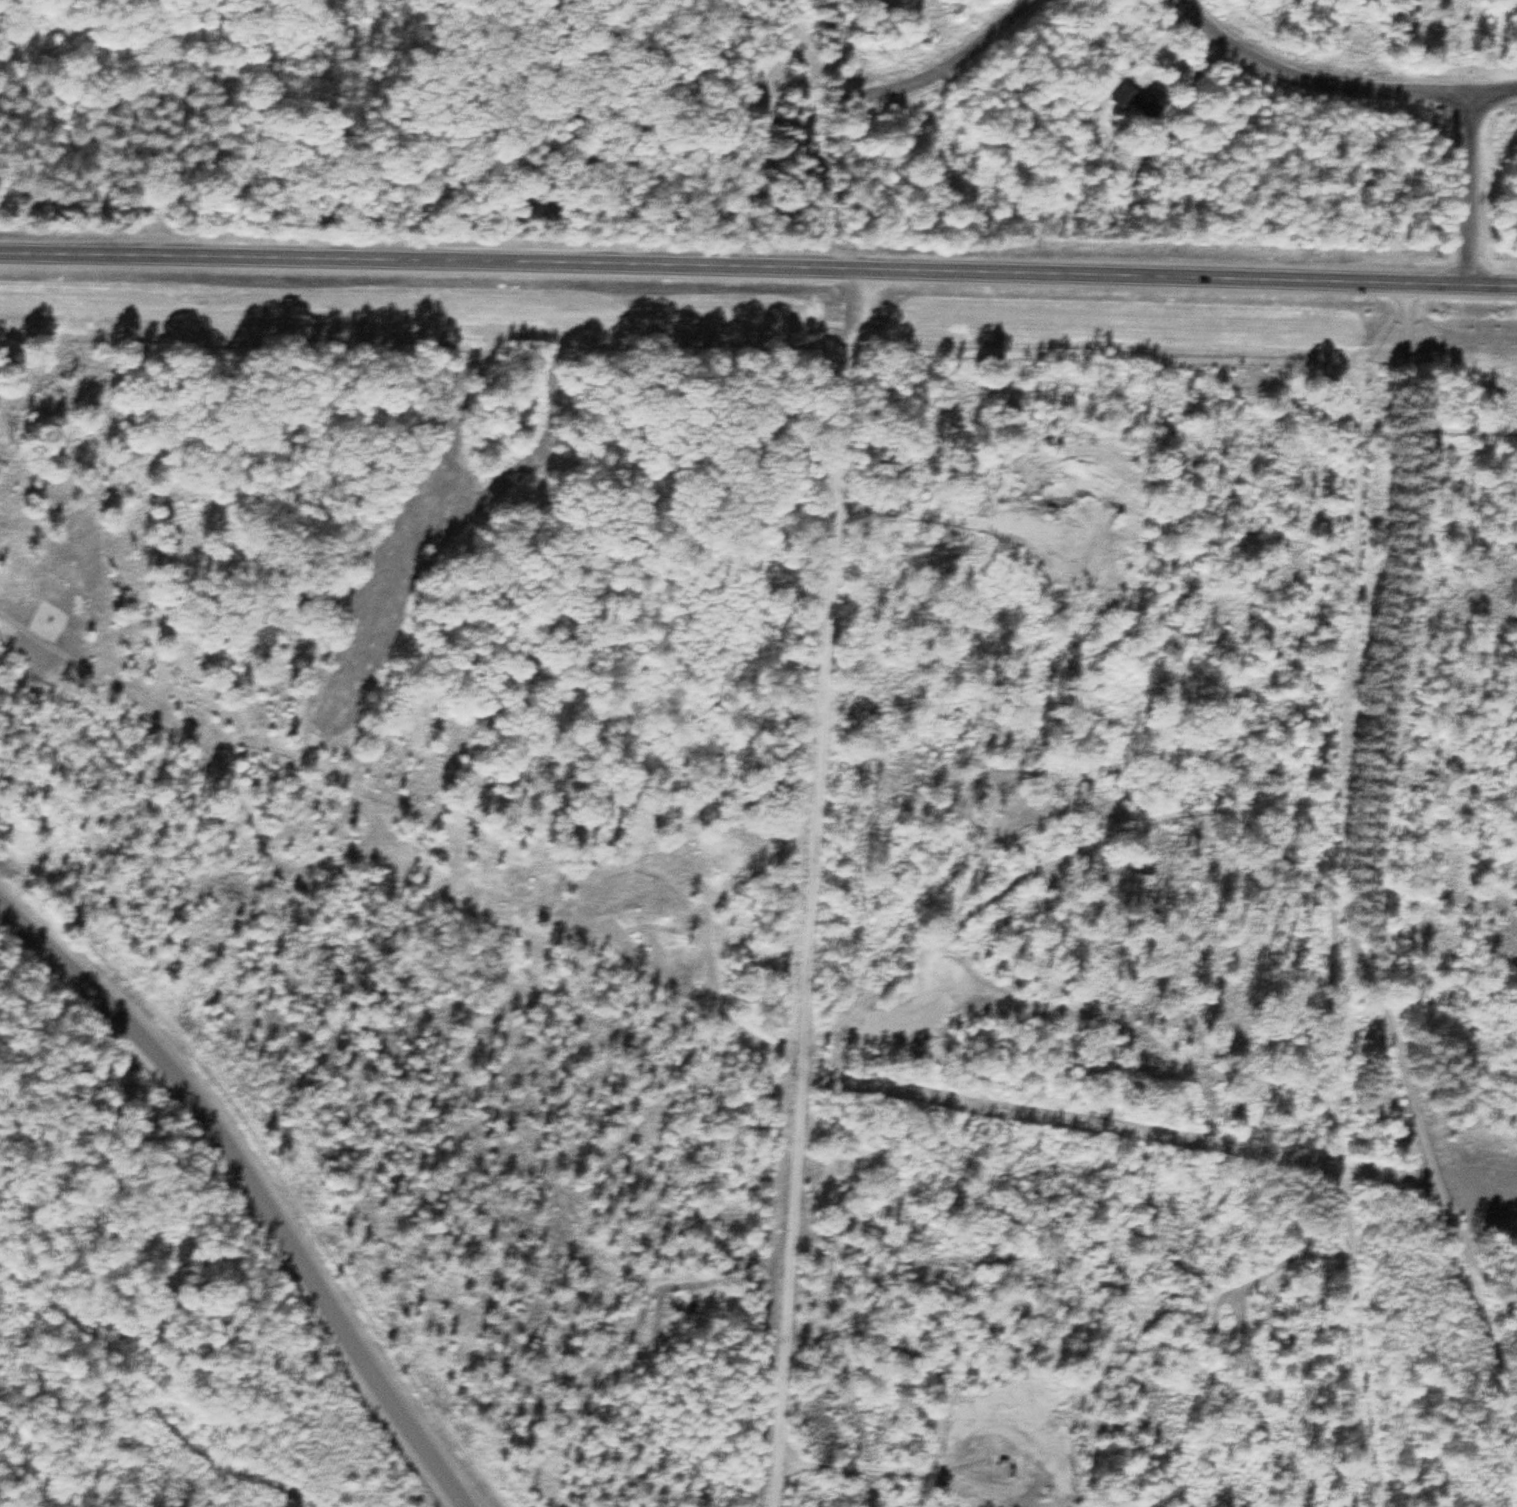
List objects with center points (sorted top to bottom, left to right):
road: (955, 60)
road: (1270, 68)
road: (1493, 92)
road: (1427, 93)
road: (1468, 190)
road: (758, 268)
road: (1460, 426)
road: (924, 510)
petroleum well: (1061, 545)
road: (1351, 808)
road: (808, 887)
road: (574, 933)
road: (1344, 1183)
road: (255, 1195)
road: (864, 1465)
petroleum well: (1017, 1468)

